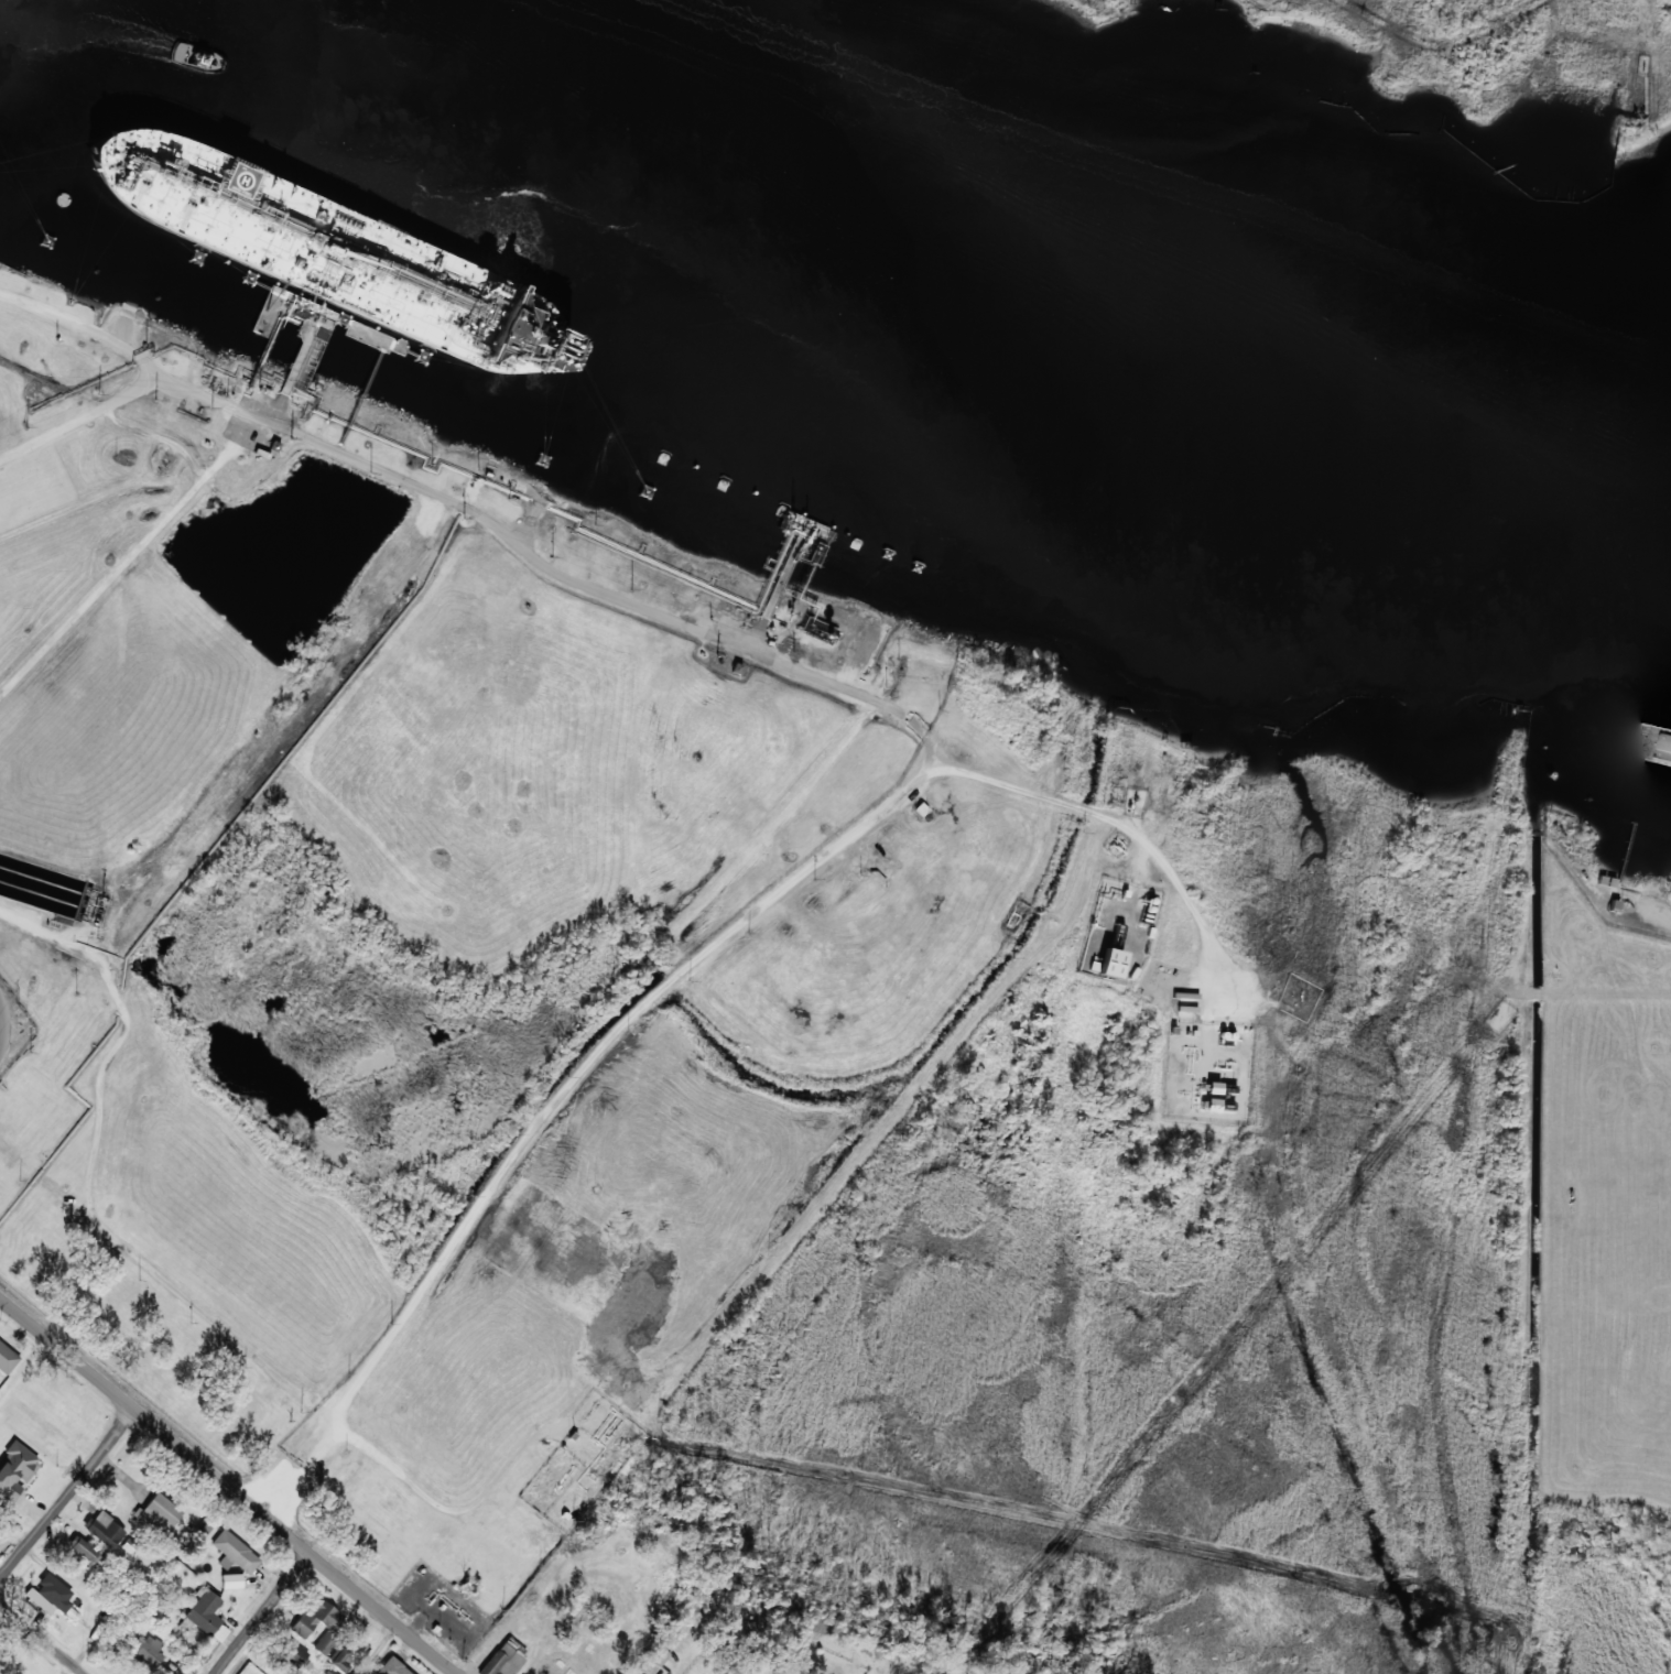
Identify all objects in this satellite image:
river: (931, 319)
road: (80, 326)
building: (818, 631)
building: (1606, 881)
building: (1106, 964)
road: (2, 1023)
building: (1213, 1088)
building: (7, 1359)
building: (15, 1470)
road: (229, 1485)
road: (65, 1501)
building: (158, 1514)
building: (104, 1529)
building: (83, 1548)
building: (235, 1553)
building: (230, 1581)
building: (51, 1594)
road: (264, 1613)
building: (207, 1616)
building: (321, 1624)
road: (43, 1638)
building: (145, 1650)
building: (343, 1653)
building: (294, 1654)
building: (504, 1657)
building: (554, 1666)
building: (392, 1667)
building: (329, 1672)

